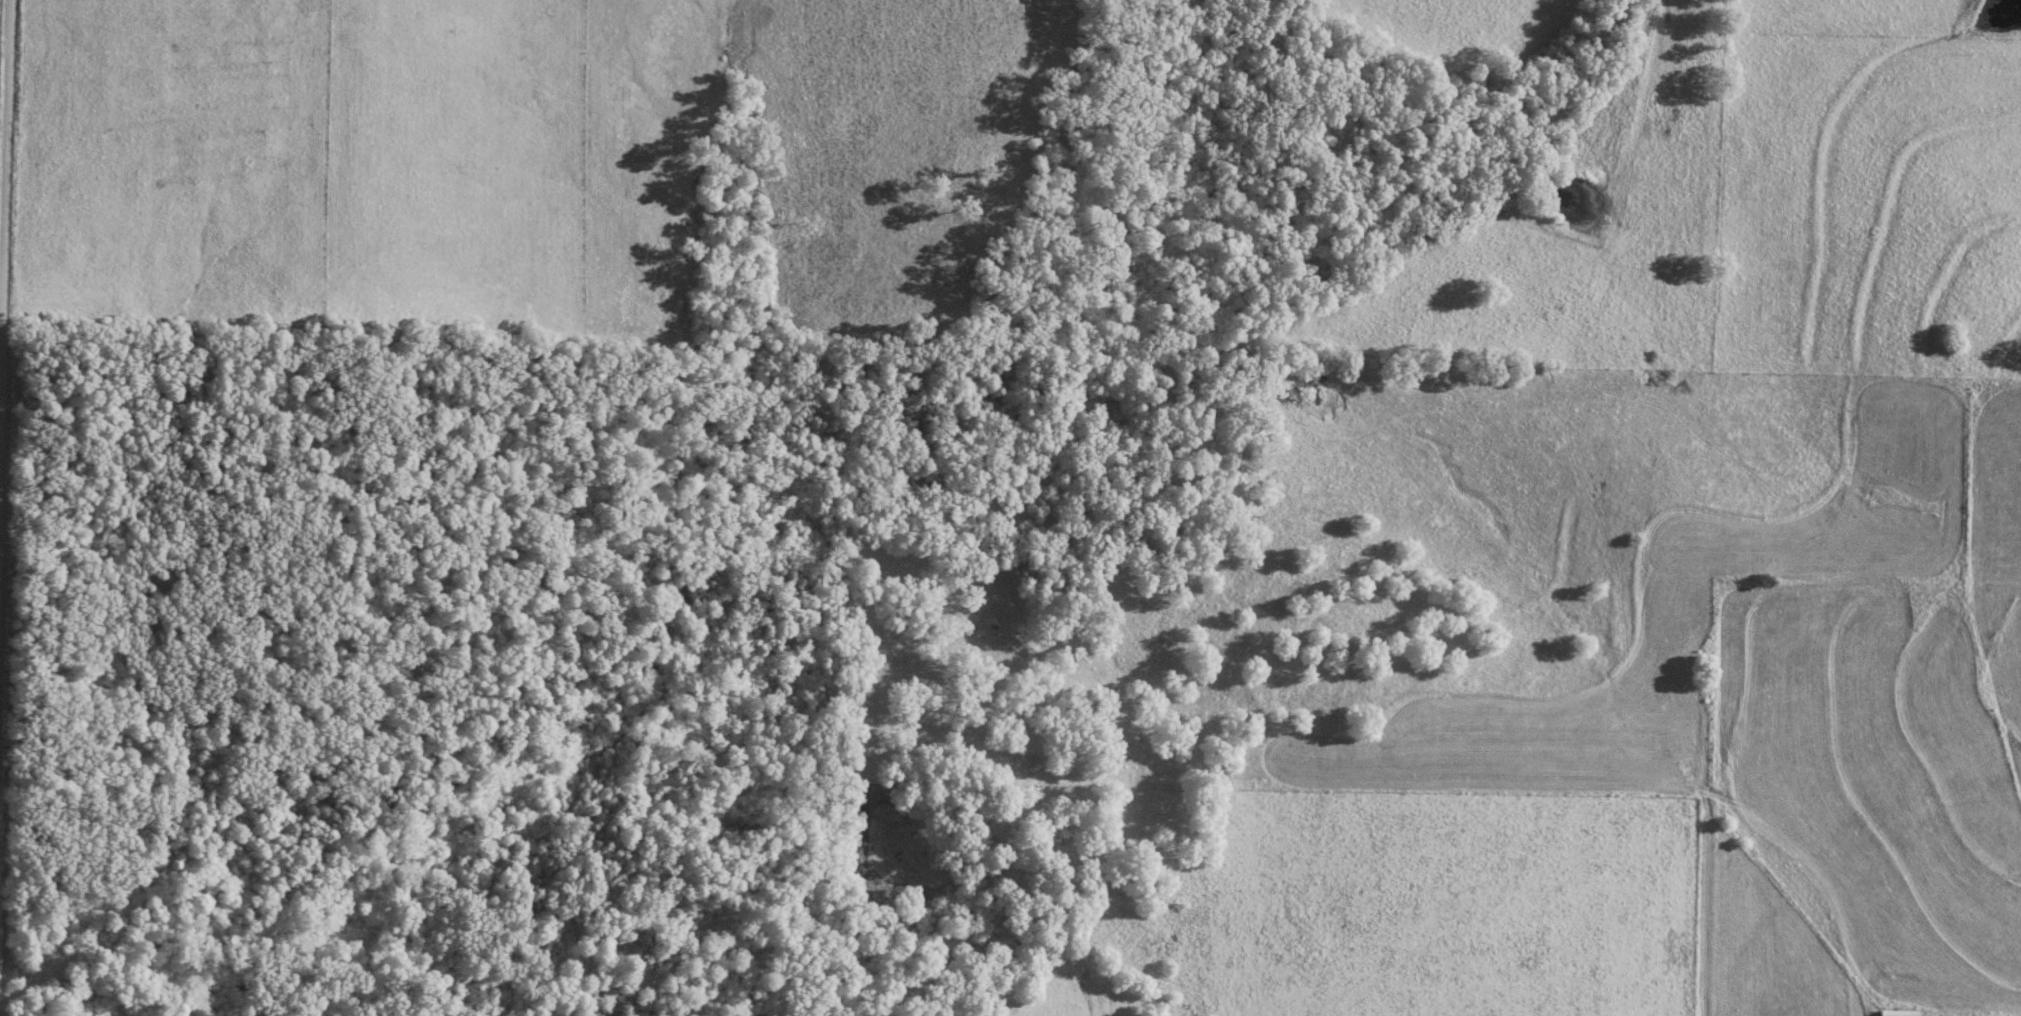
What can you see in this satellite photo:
road: (5, 329)
building: (1896, 1013)

